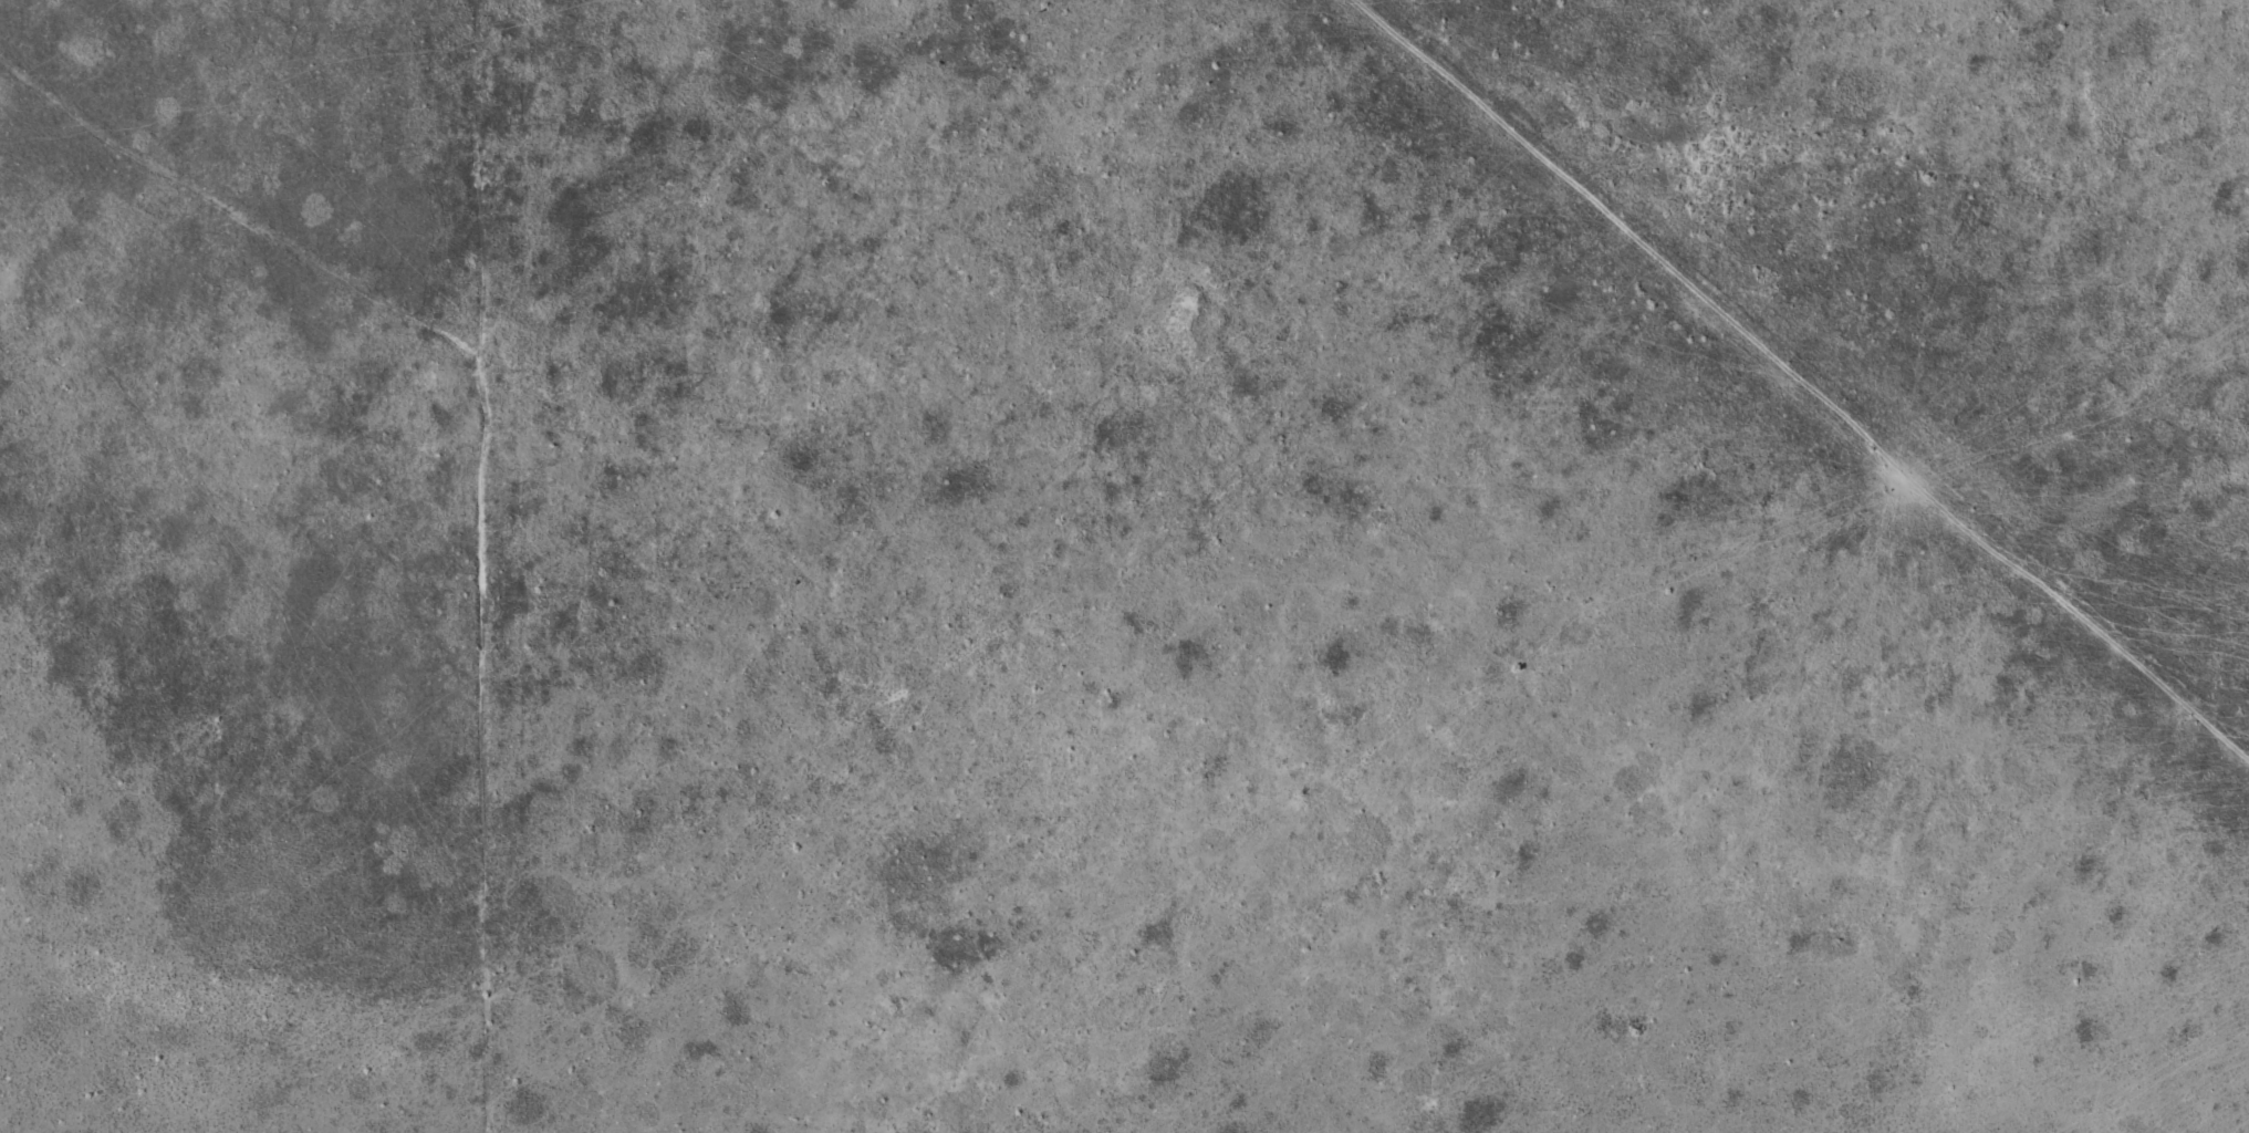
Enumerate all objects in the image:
road: (491, 440)

